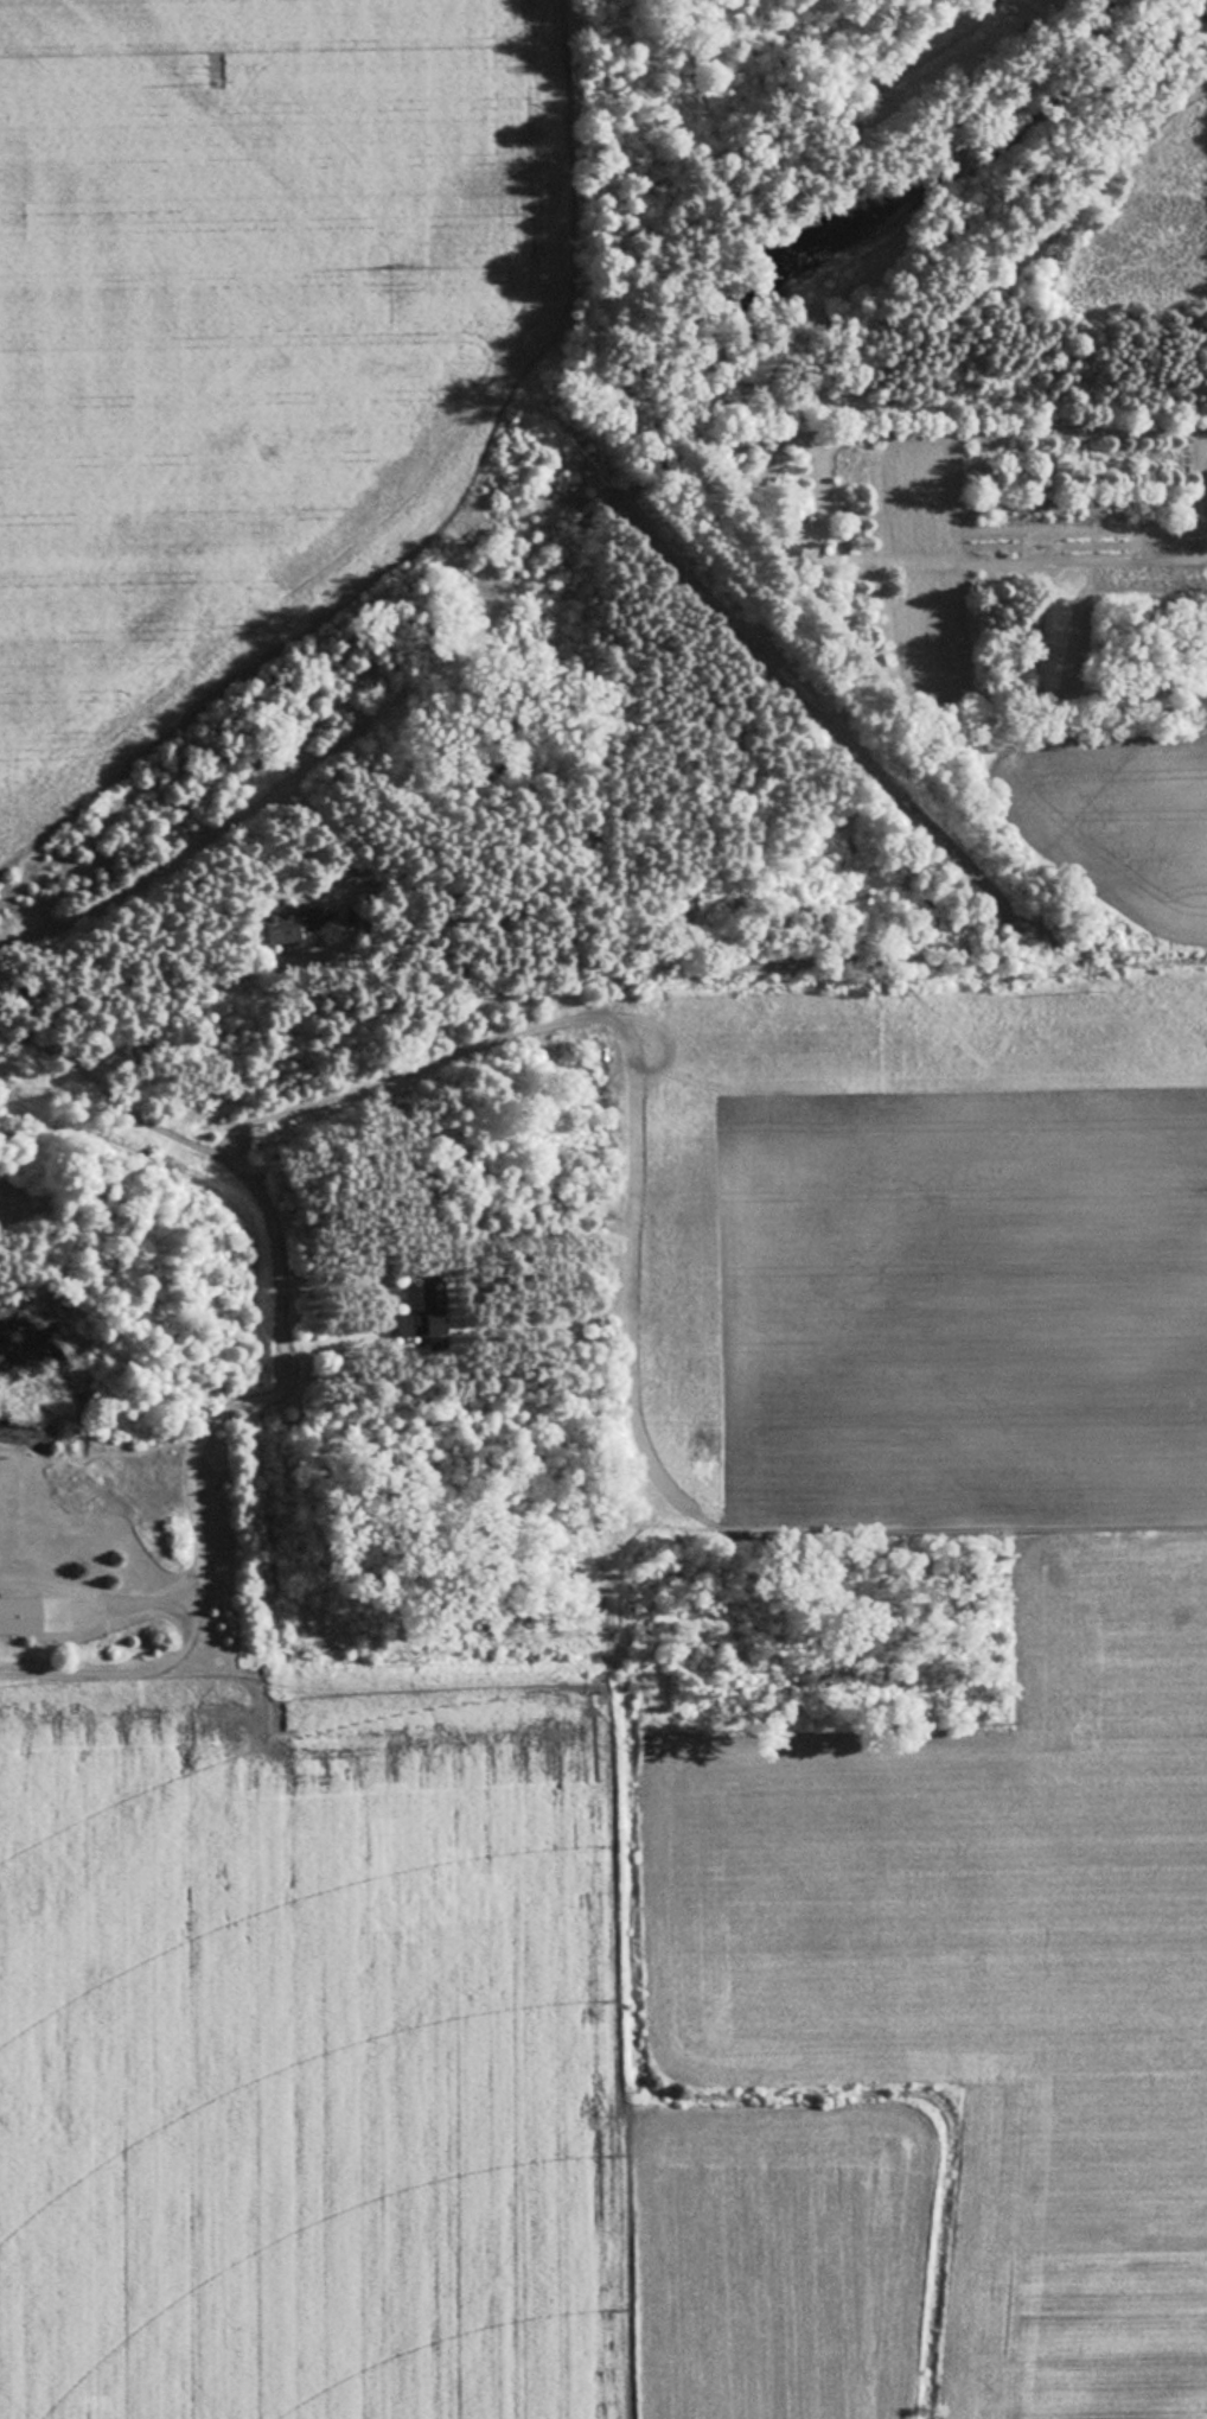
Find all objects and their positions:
building: (780, 549)
road: (282, 789)
building: (283, 924)
building: (426, 1314)
road: (275, 1380)
road: (98, 1592)
road: (165, 1602)

